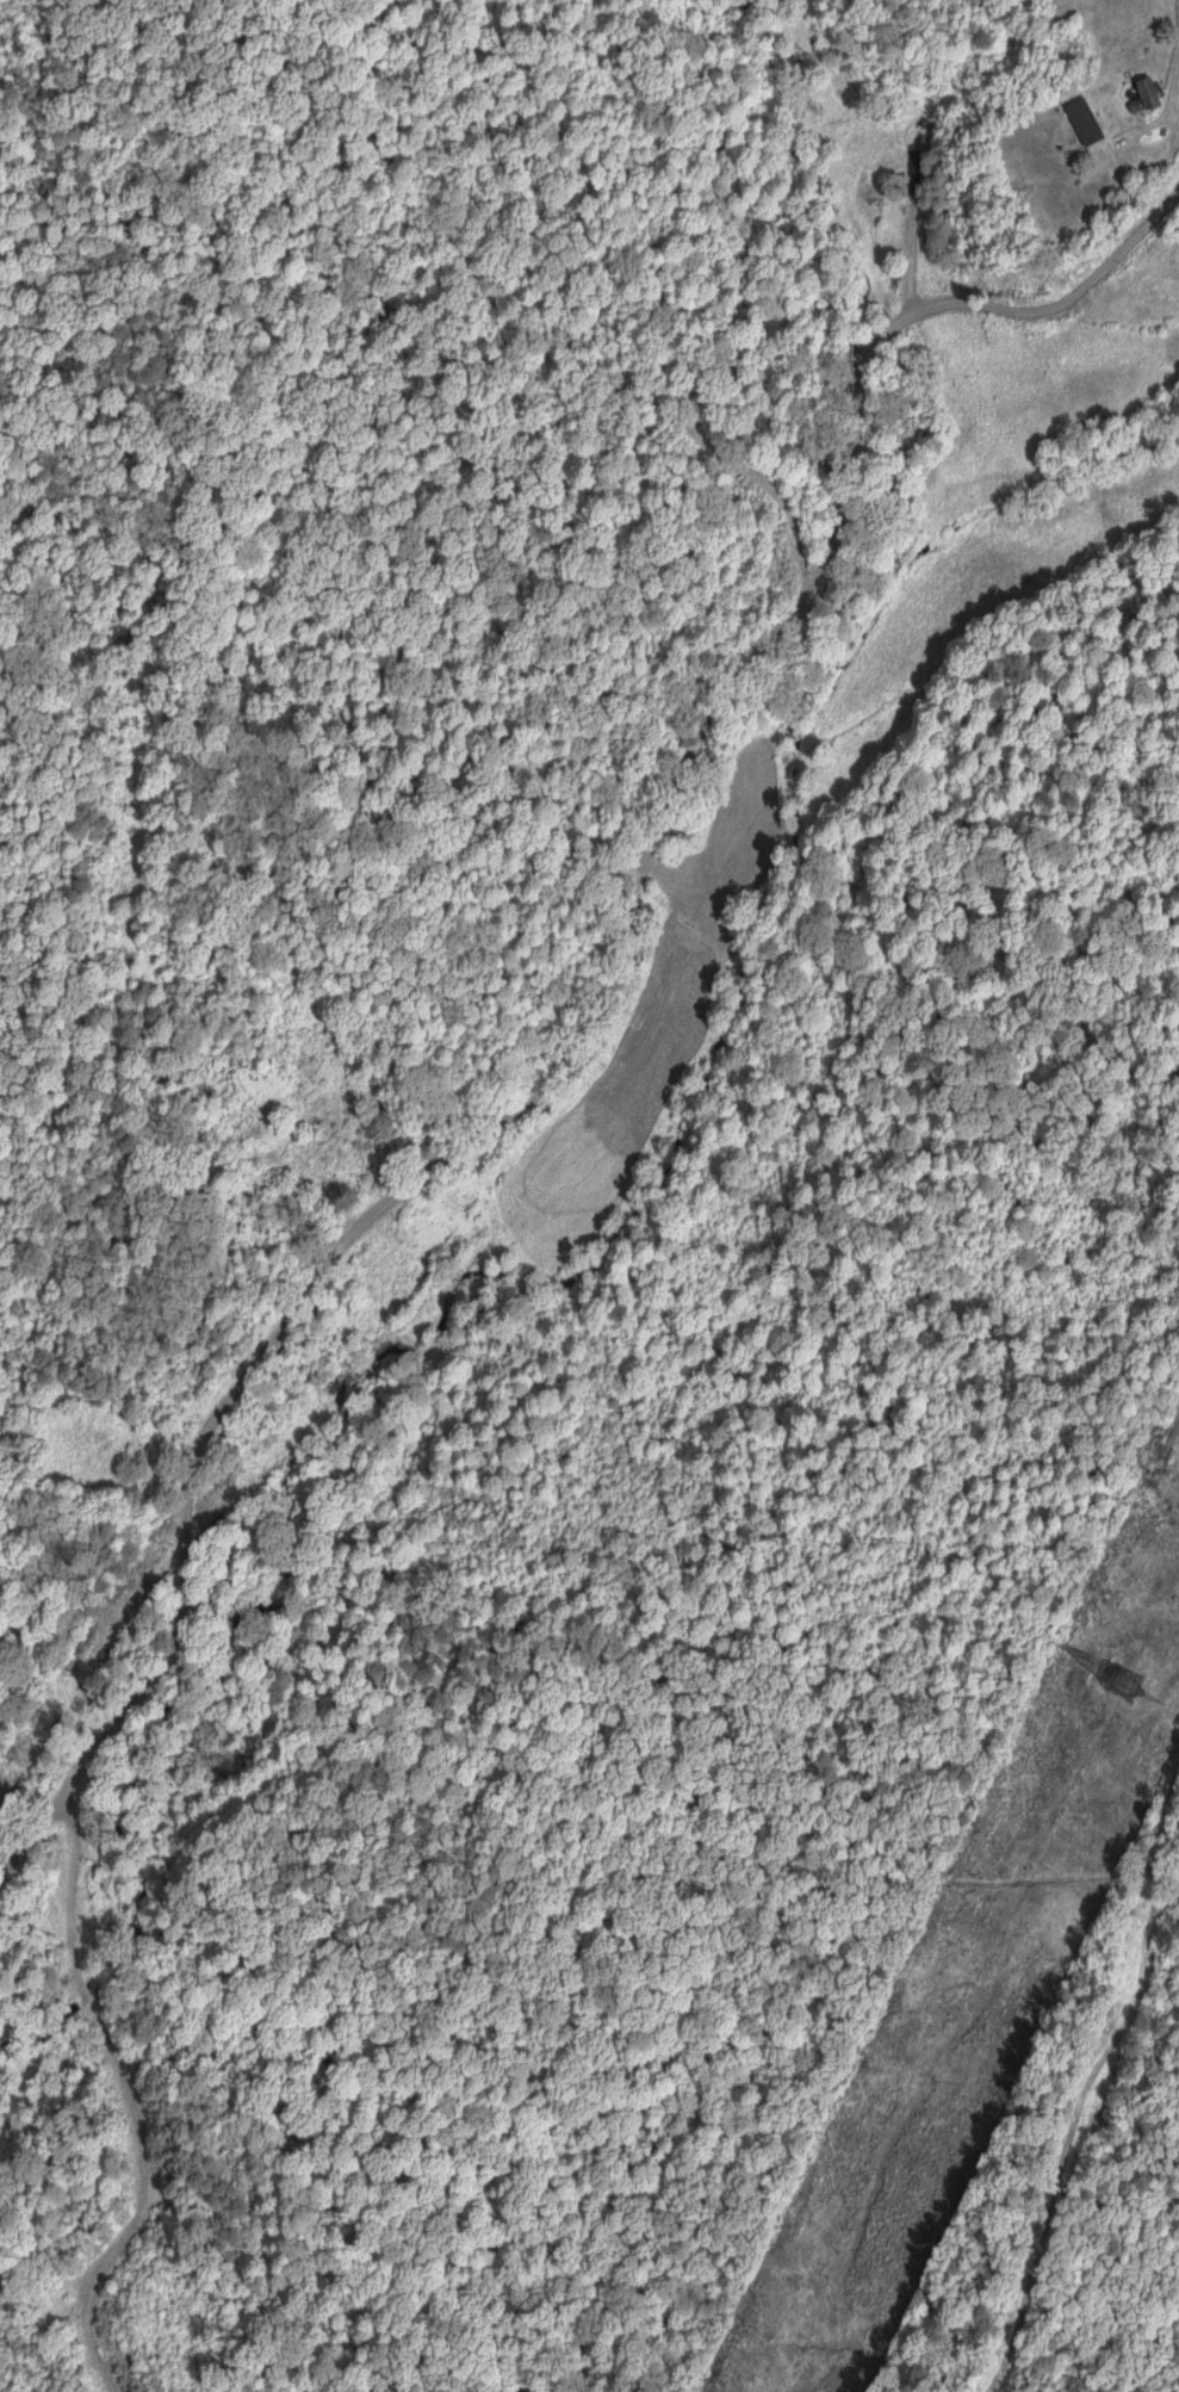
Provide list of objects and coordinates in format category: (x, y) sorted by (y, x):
building: (1141, 97)
building: (911, 172)
road: (695, 601)
road: (609, 1009)
road: (367, 1148)
road: (190, 1512)
power tower: (1127, 1678)

